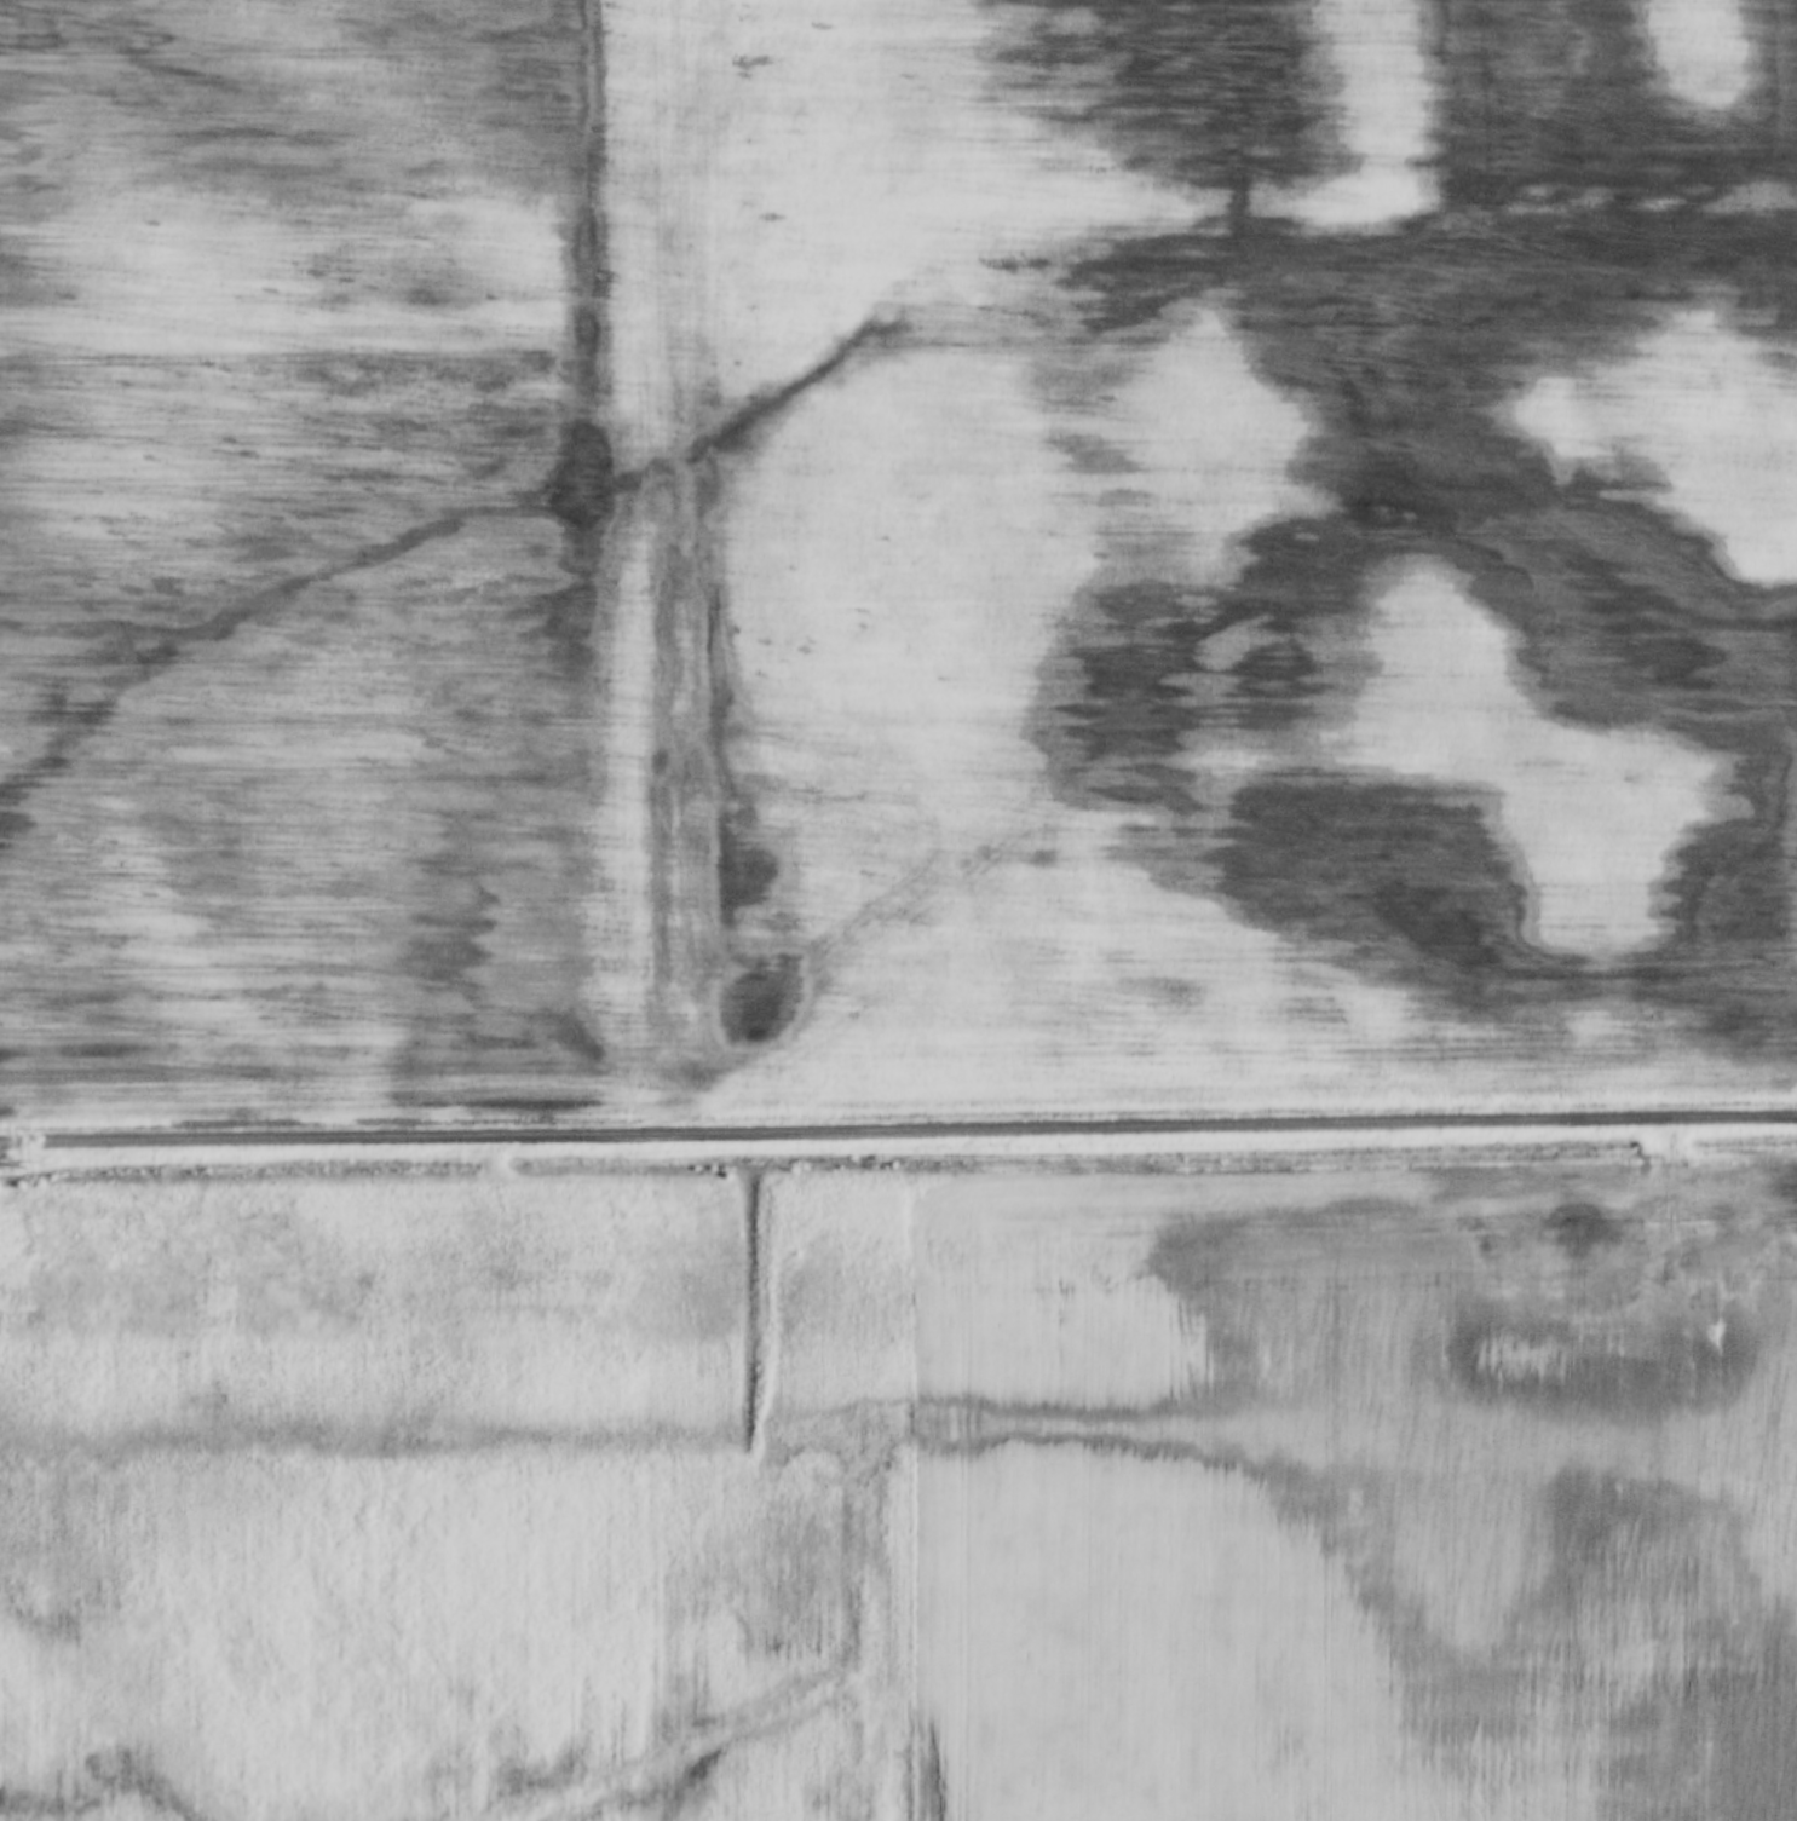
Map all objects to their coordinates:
road: (898, 1130)

